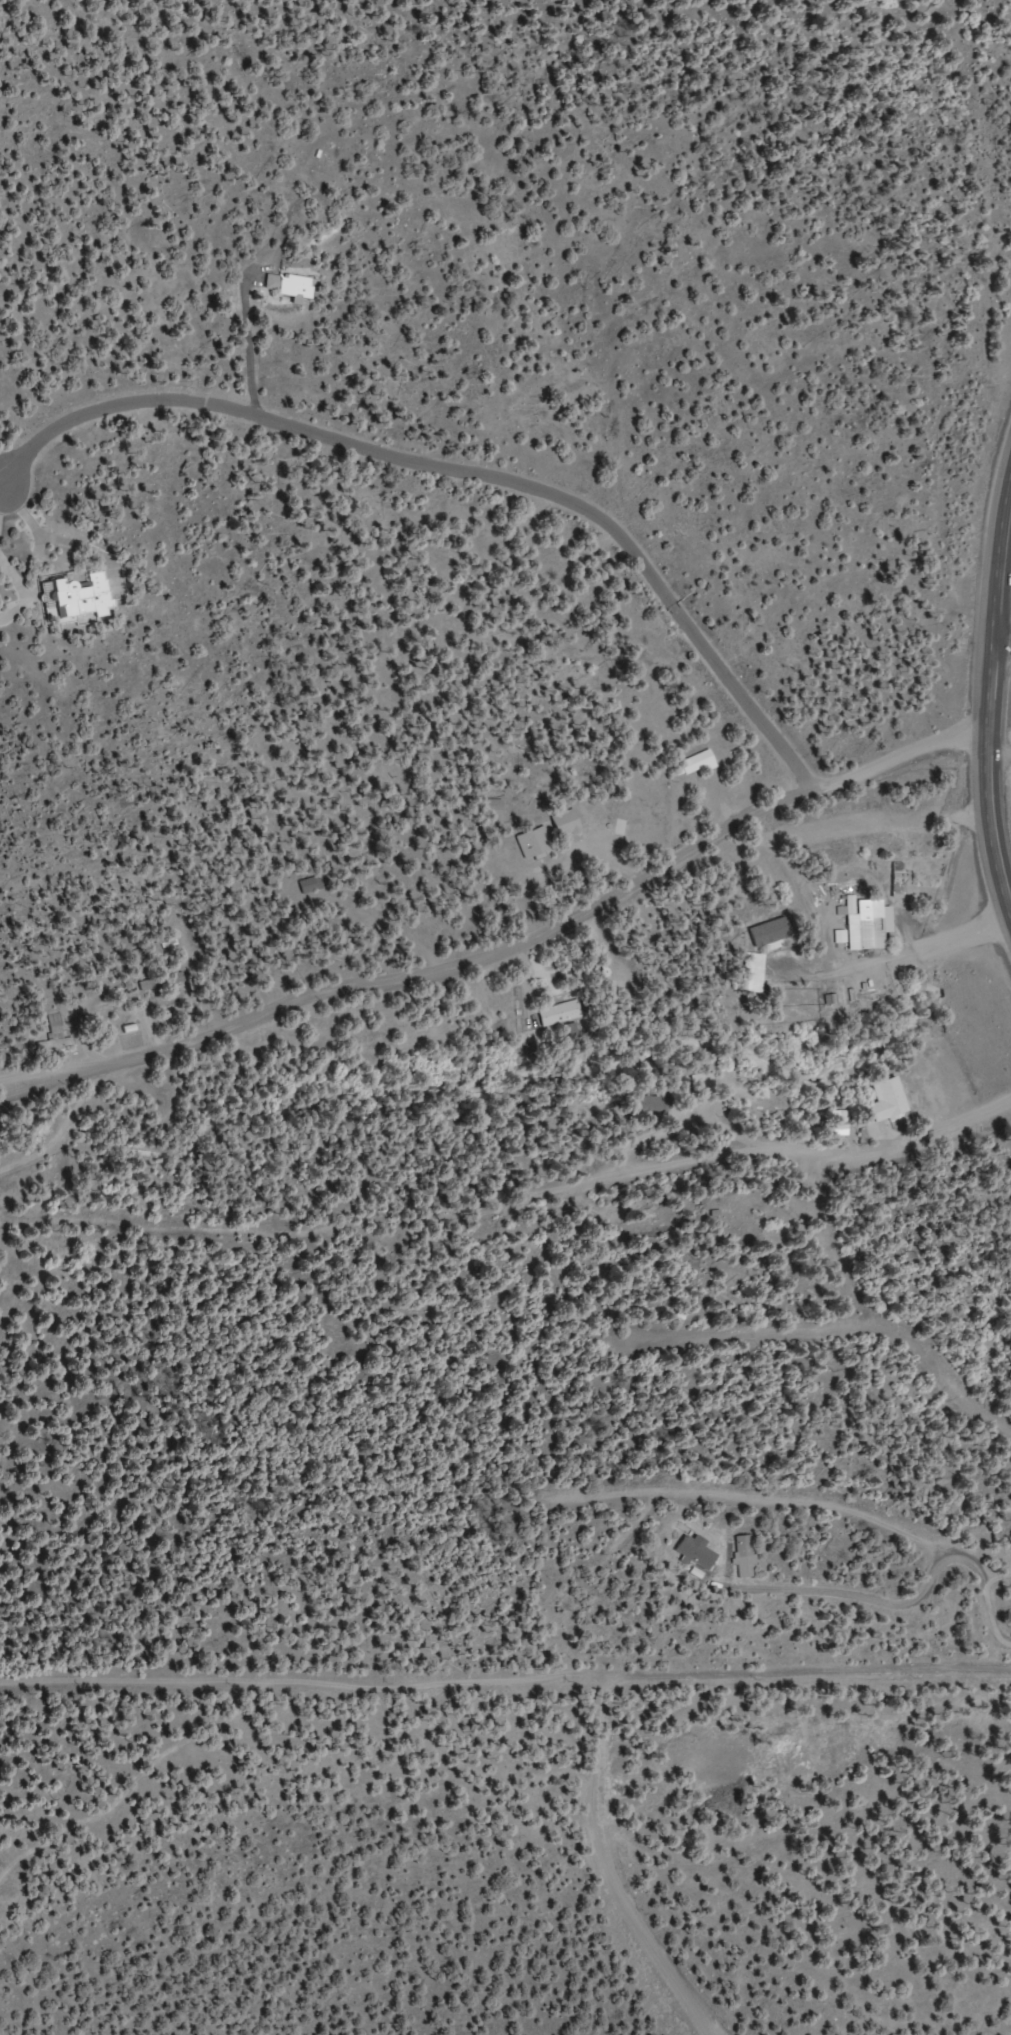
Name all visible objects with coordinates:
building: (290, 286)
building: (80, 596)
road: (1001, 643)
road: (987, 699)
building: (695, 764)
building: (567, 824)
building: (535, 843)
building: (902, 881)
building: (311, 885)
building: (864, 924)
road: (503, 940)
building: (756, 973)
building: (177, 978)
building: (151, 986)
building: (562, 1013)
building: (57, 1032)
building: (706, 1083)
road: (705, 1089)
building: (889, 1101)
building: (842, 1128)
road: (902, 1137)
road: (631, 1149)
road: (686, 1303)
road: (818, 1323)
road: (815, 1458)
road: (505, 1705)

